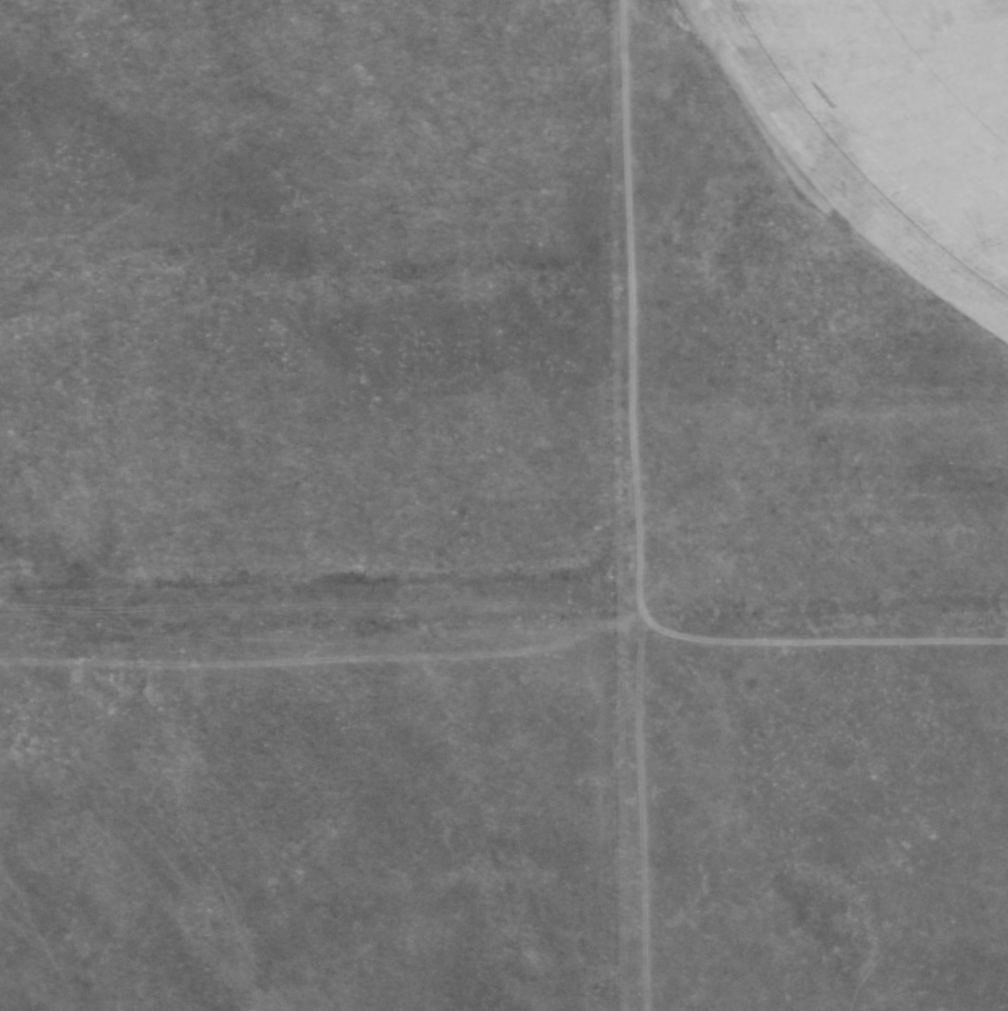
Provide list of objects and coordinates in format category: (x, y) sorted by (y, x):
crop: (887, 124)

